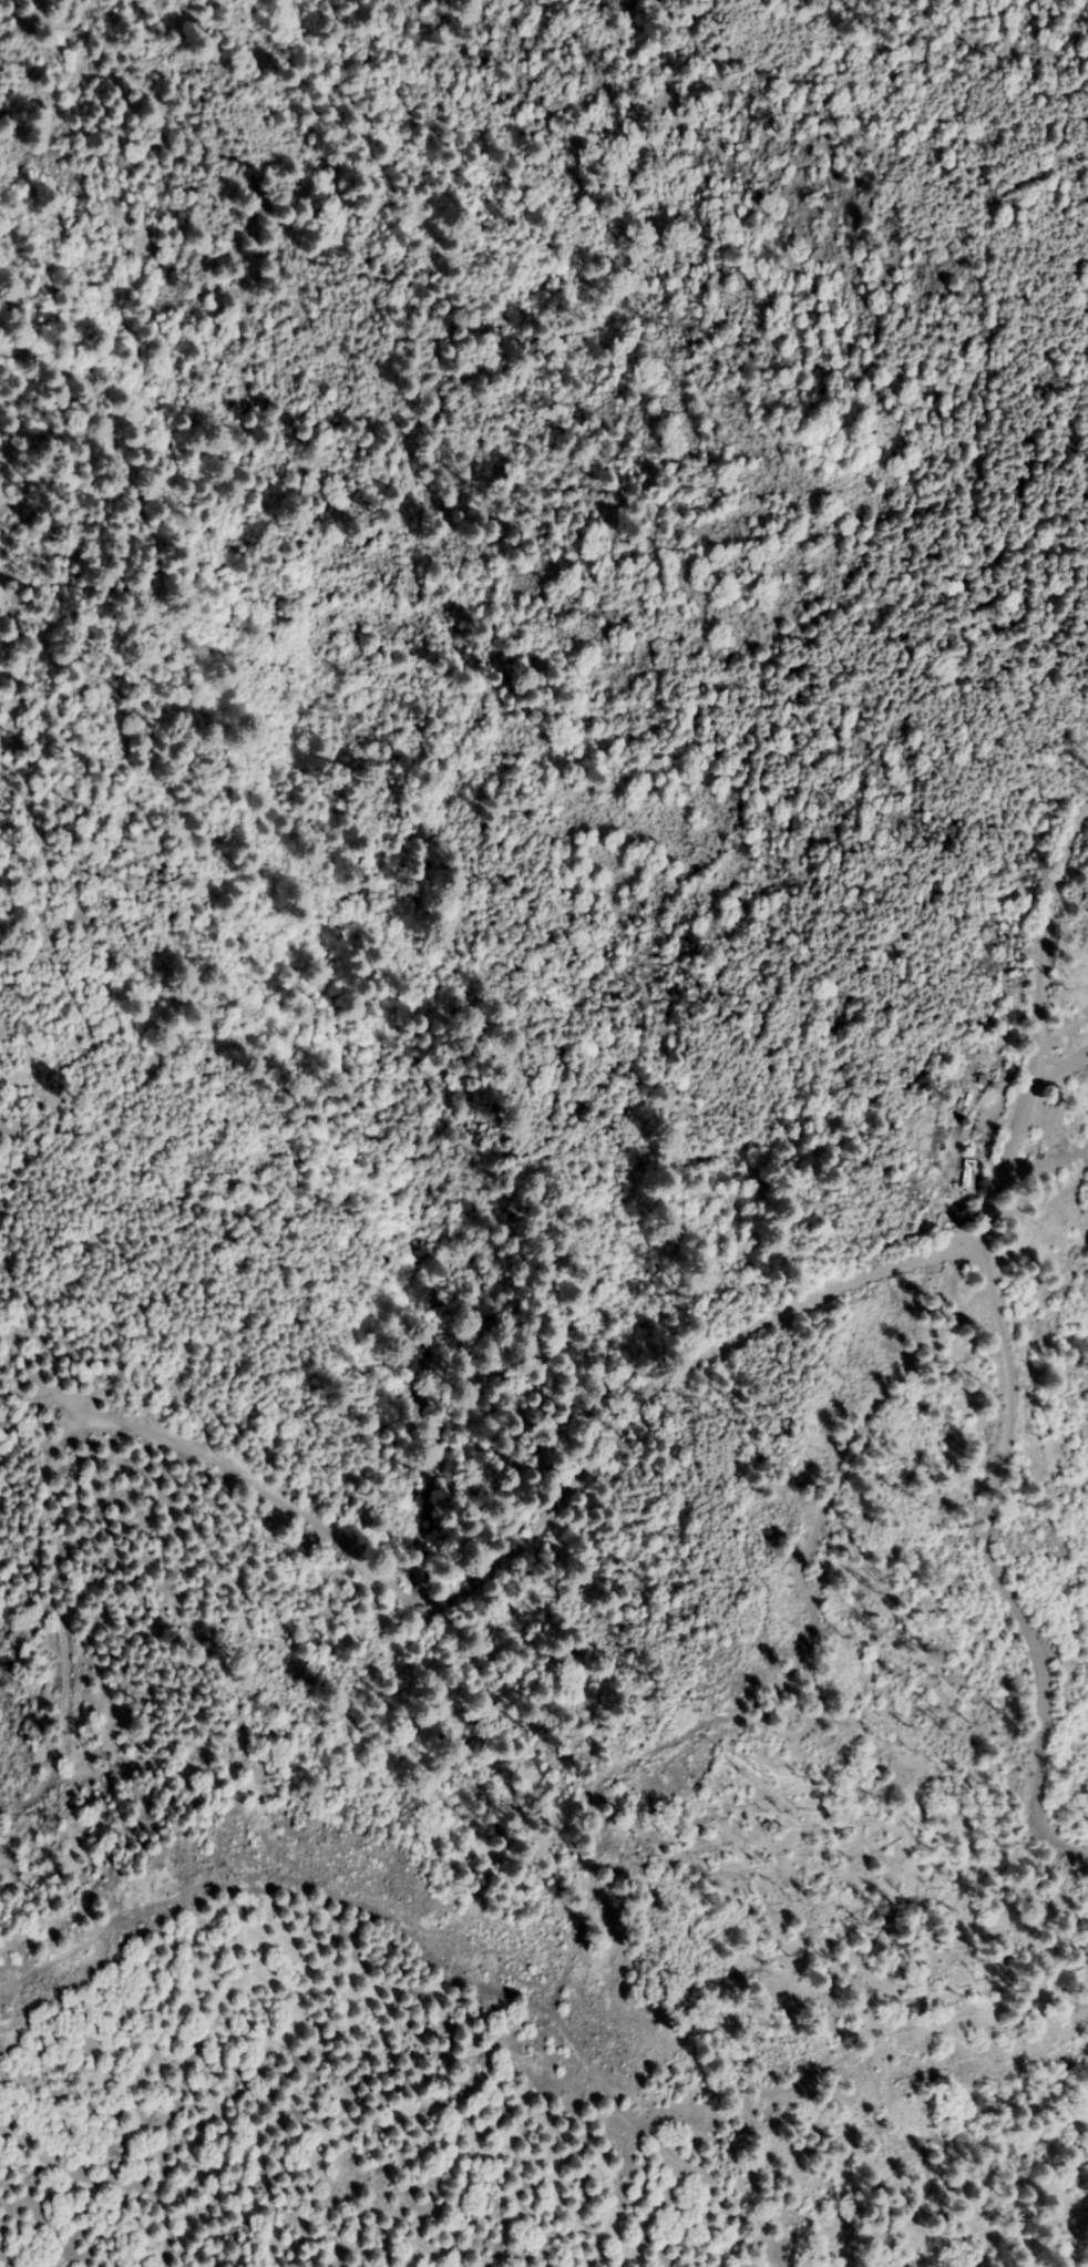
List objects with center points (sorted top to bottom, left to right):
road: (1065, 1074)
building: (983, 1080)
building: (983, 1090)
building: (967, 1100)
road: (1015, 1355)

